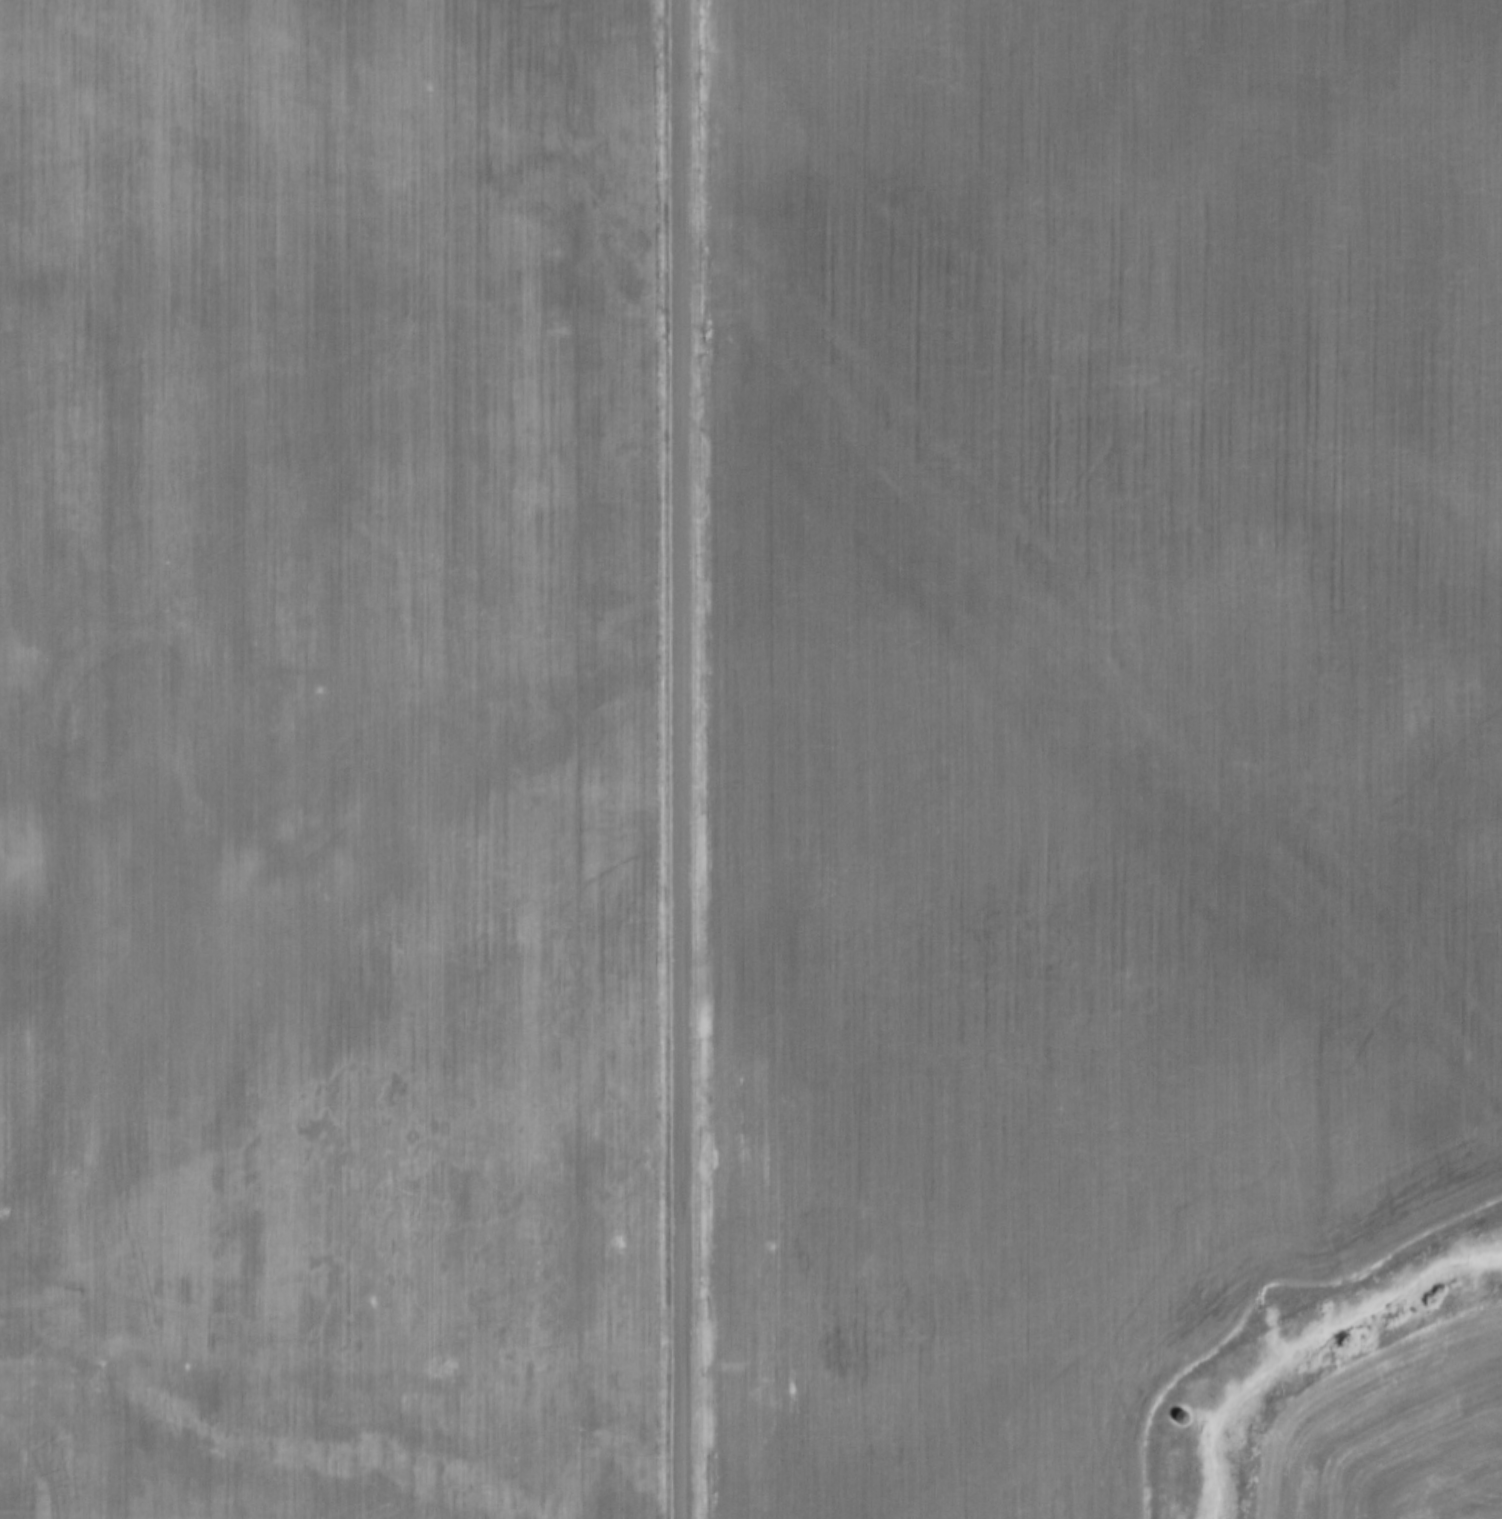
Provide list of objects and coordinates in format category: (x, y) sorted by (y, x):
road: (686, 759)
road: (1275, 1323)
building: (1177, 1416)

